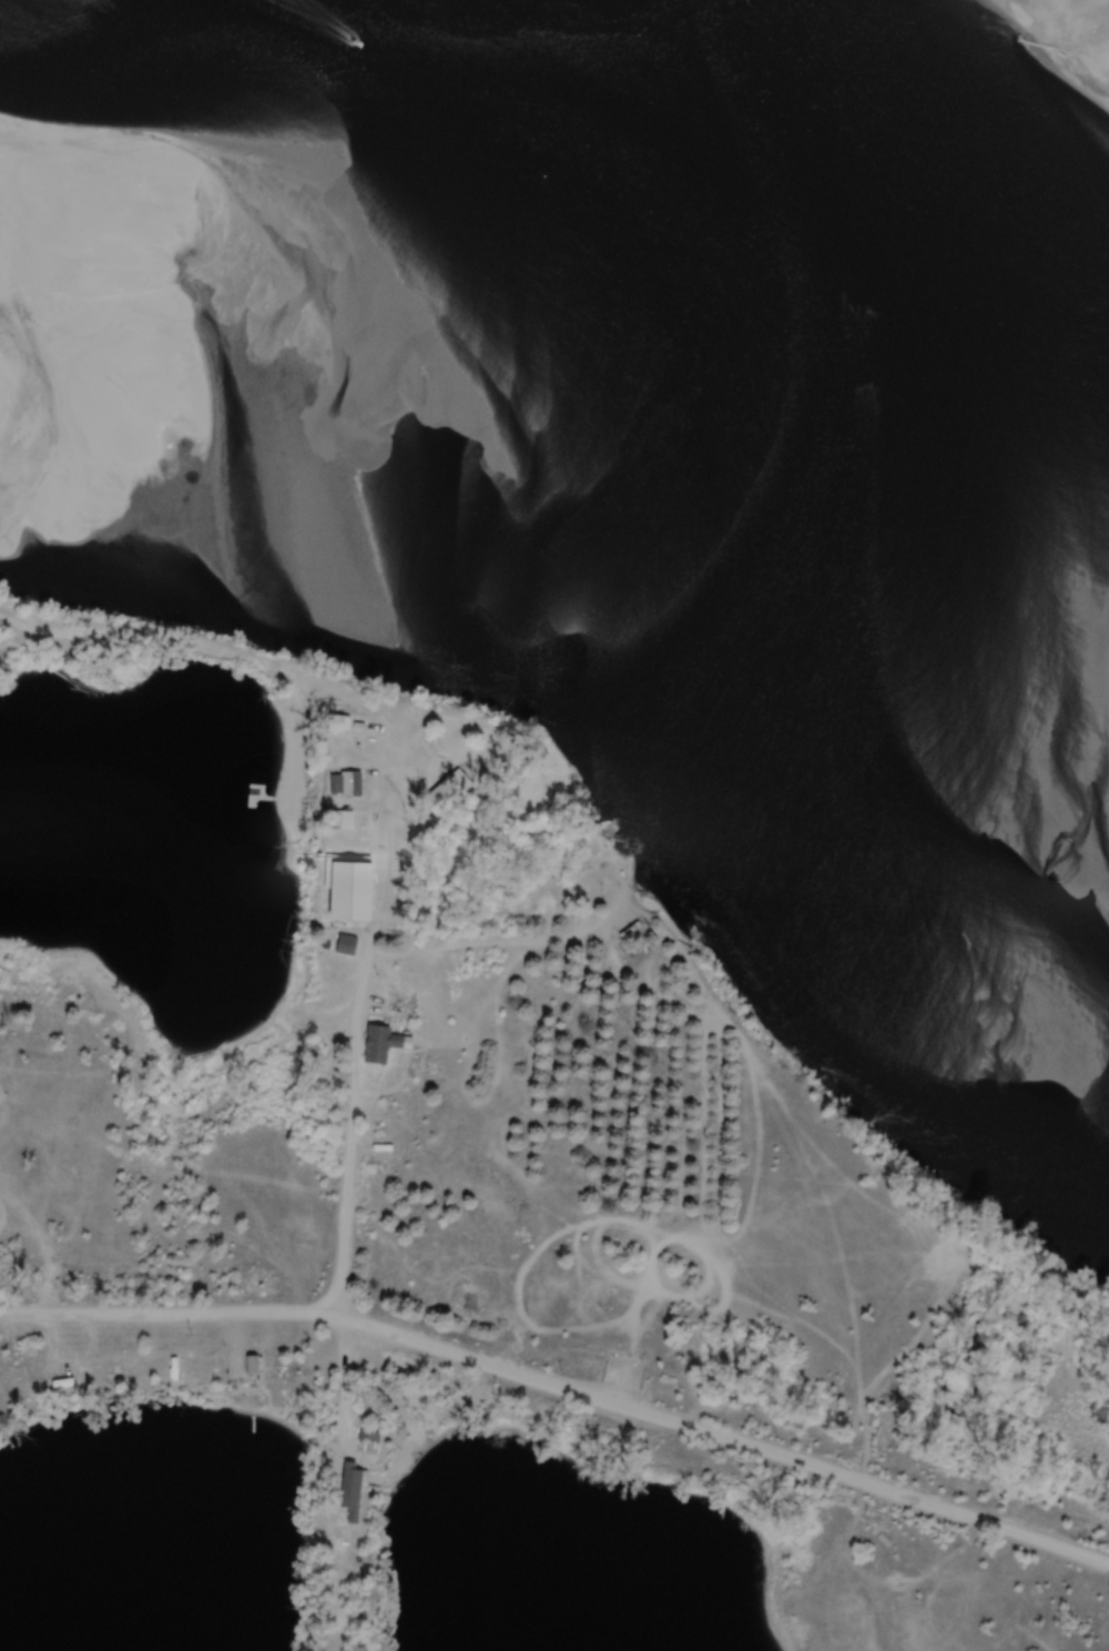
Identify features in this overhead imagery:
river: (526, 595)
road: (110, 627)
road: (397, 722)
building: (347, 783)
road: (503, 938)
building: (347, 944)
building: (383, 1044)
road: (356, 1050)
building: (292, 1367)
road: (346, 1384)
road: (561, 1391)
building: (370, 1442)
building: (354, 1489)

